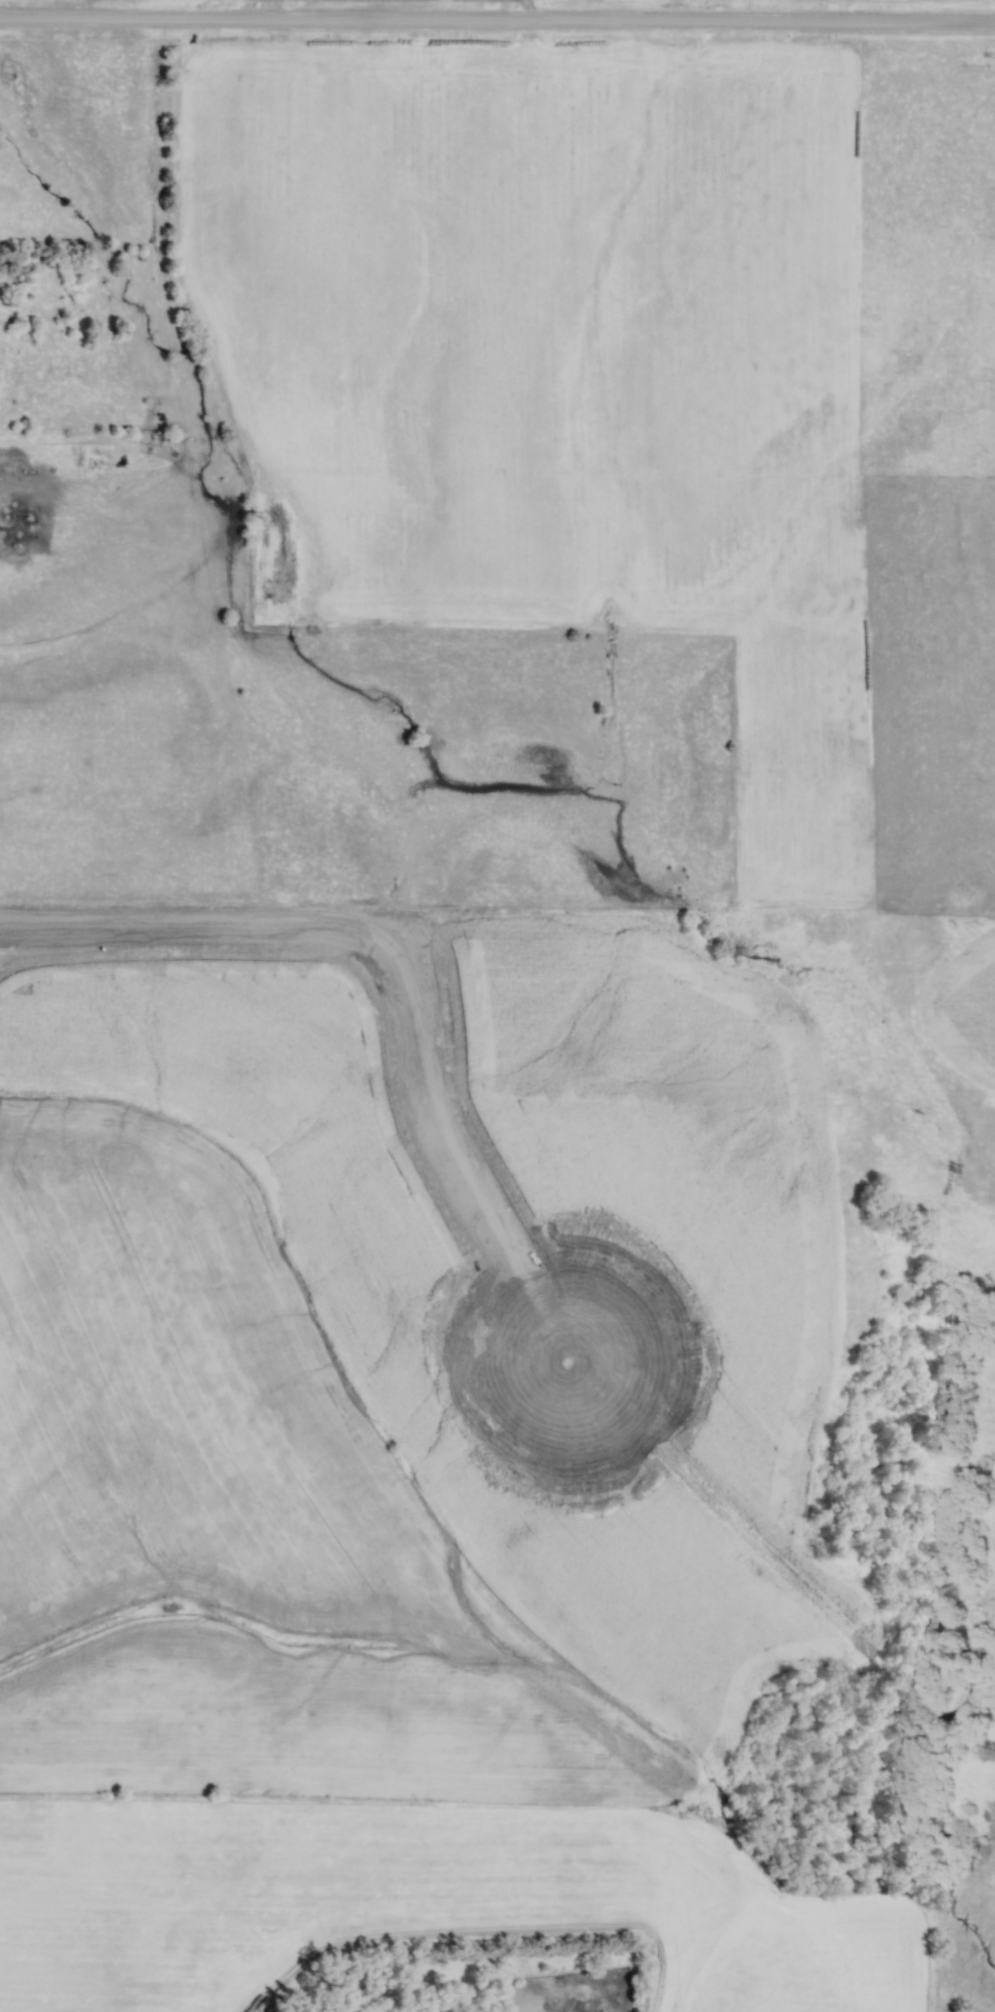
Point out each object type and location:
road: (497, 25)
wind turbine: (566, 1361)

